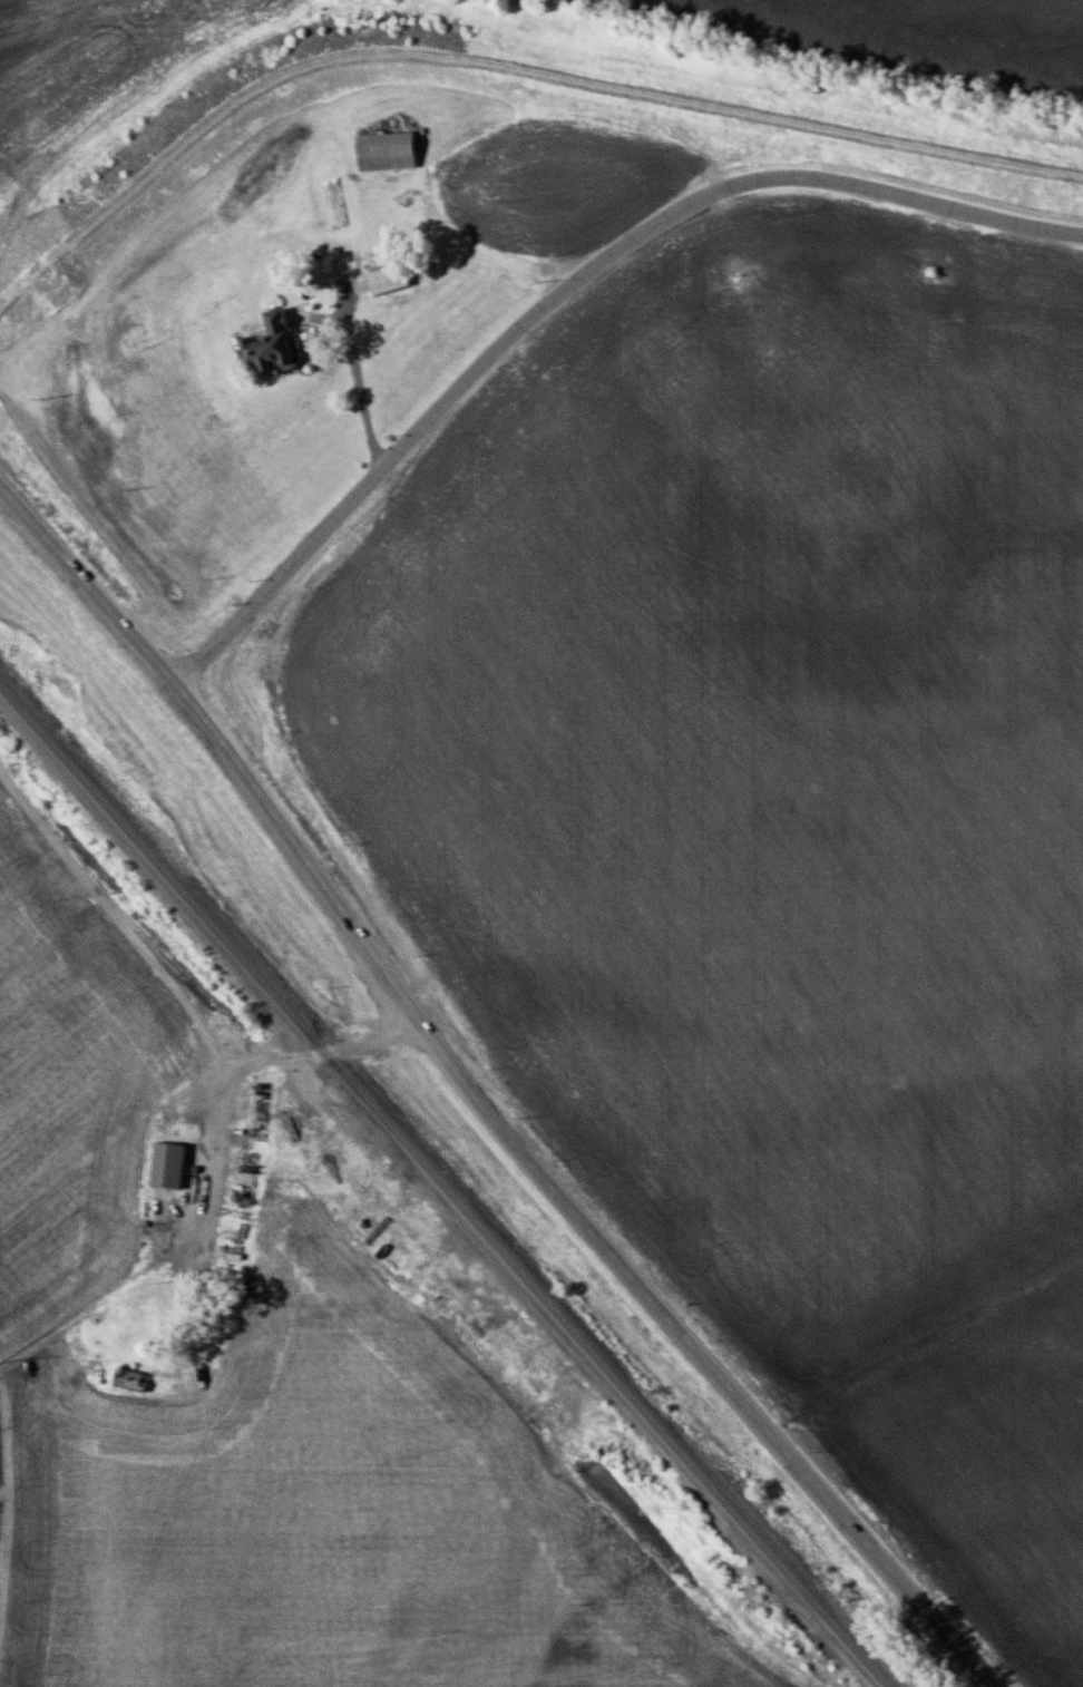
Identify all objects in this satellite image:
river: (967, 29)
building: (386, 150)
building: (388, 277)
road: (566, 290)
road: (344, 310)
building: (271, 347)
road: (358, 380)
road: (179, 998)
road: (475, 1102)
road: (208, 1163)
building: (166, 1164)
railway: (445, 1187)
building: (128, 1378)

